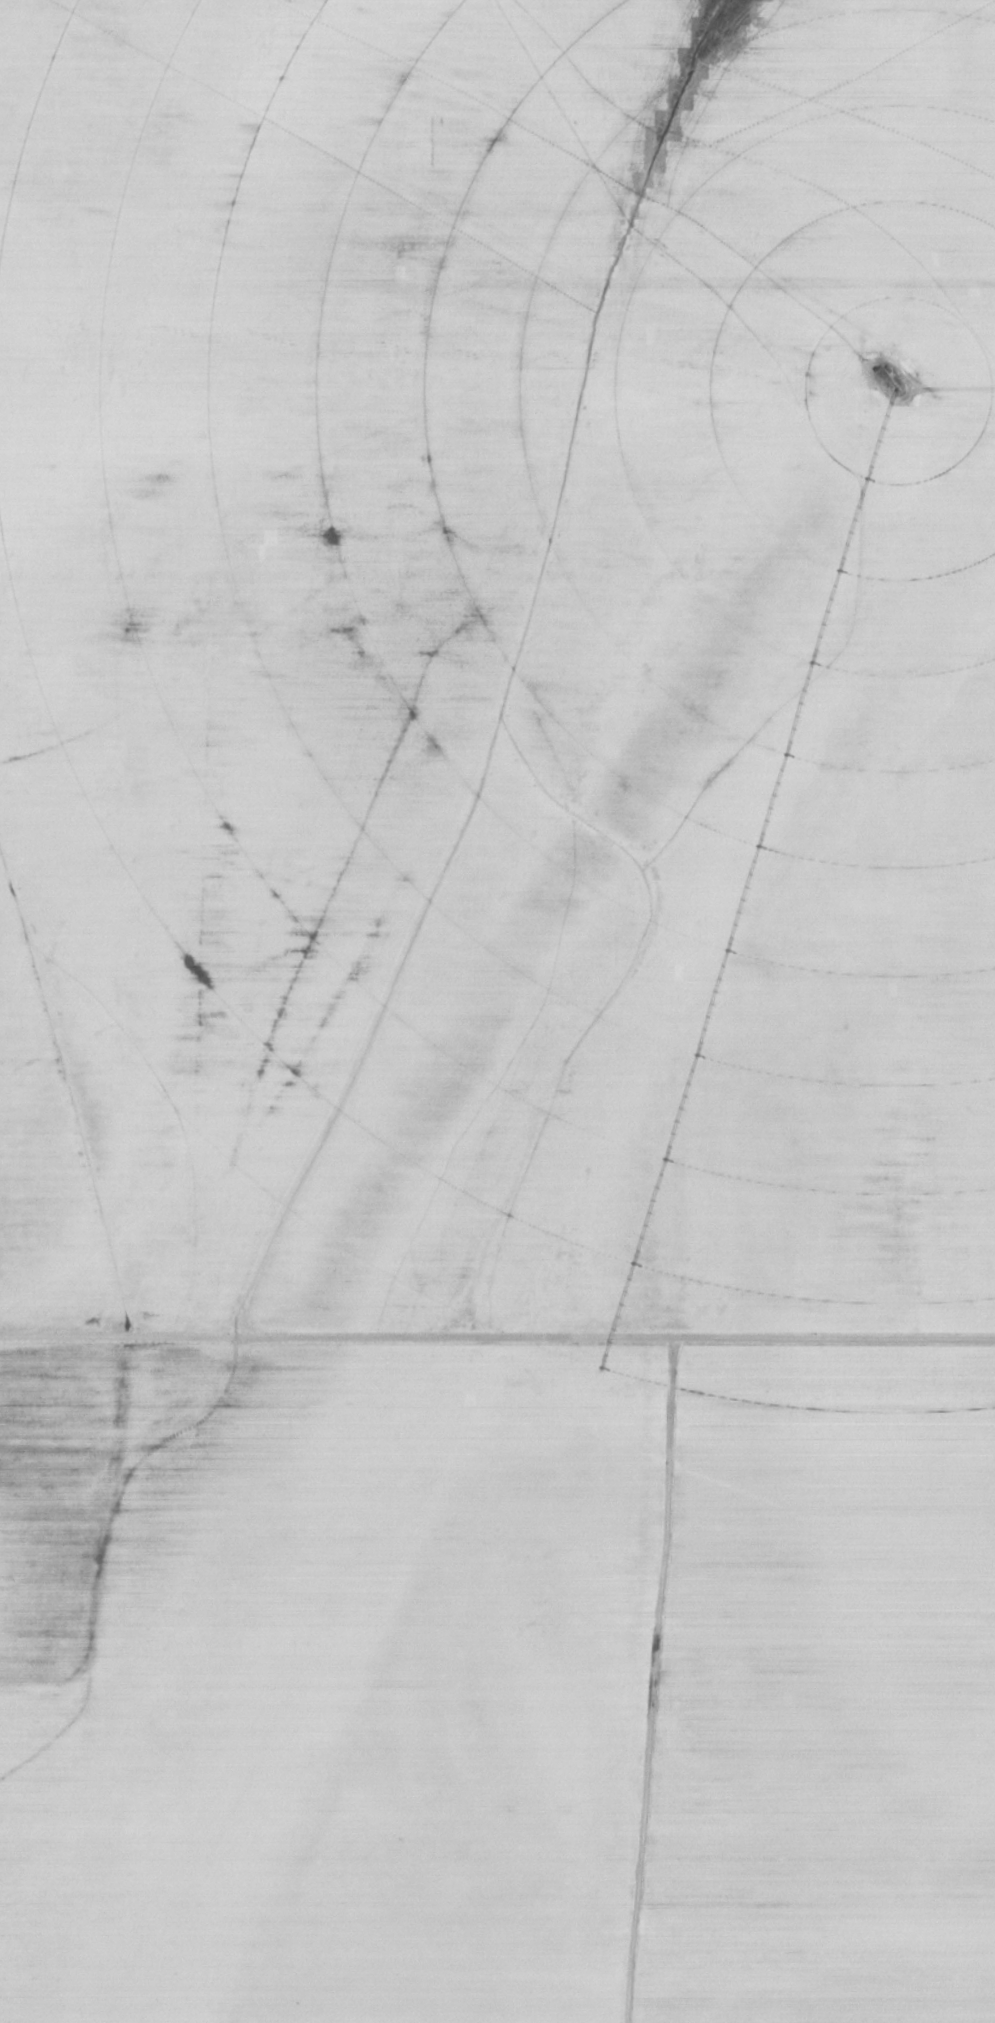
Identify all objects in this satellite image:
road: (497, 1328)
road: (637, 1675)

